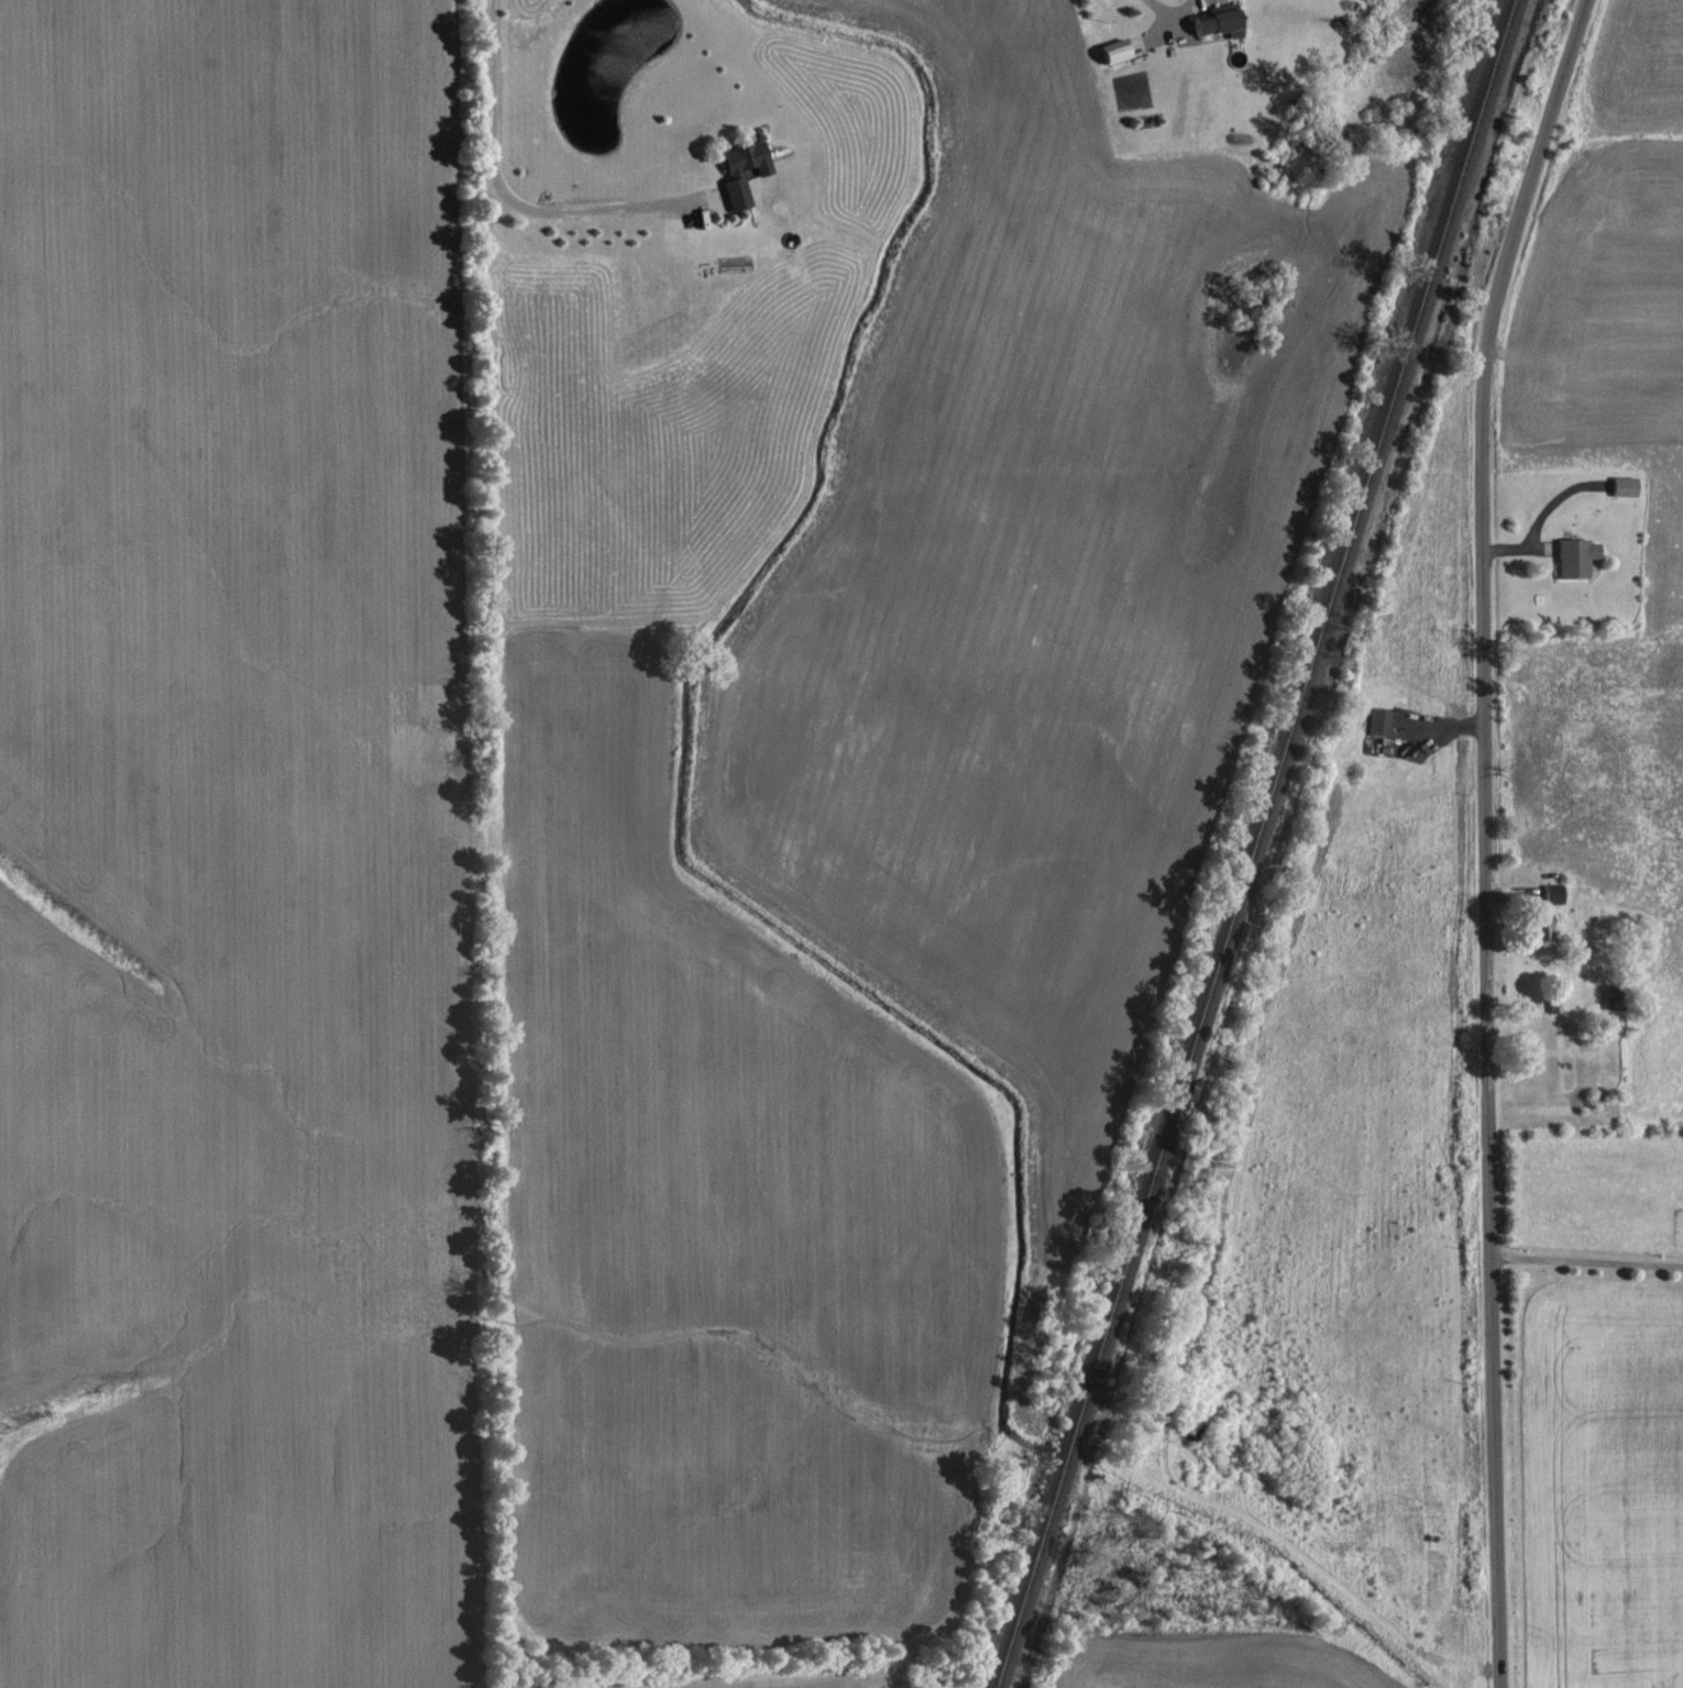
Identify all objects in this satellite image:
road: (1170, 11)
building: (1219, 22)
building: (1116, 49)
building: (736, 174)
road: (504, 191)
building: (1627, 485)
building: (1579, 556)
building: (1380, 721)
road: (1487, 837)
railway: (1247, 843)
building: (1548, 894)
road: (1587, 1259)

